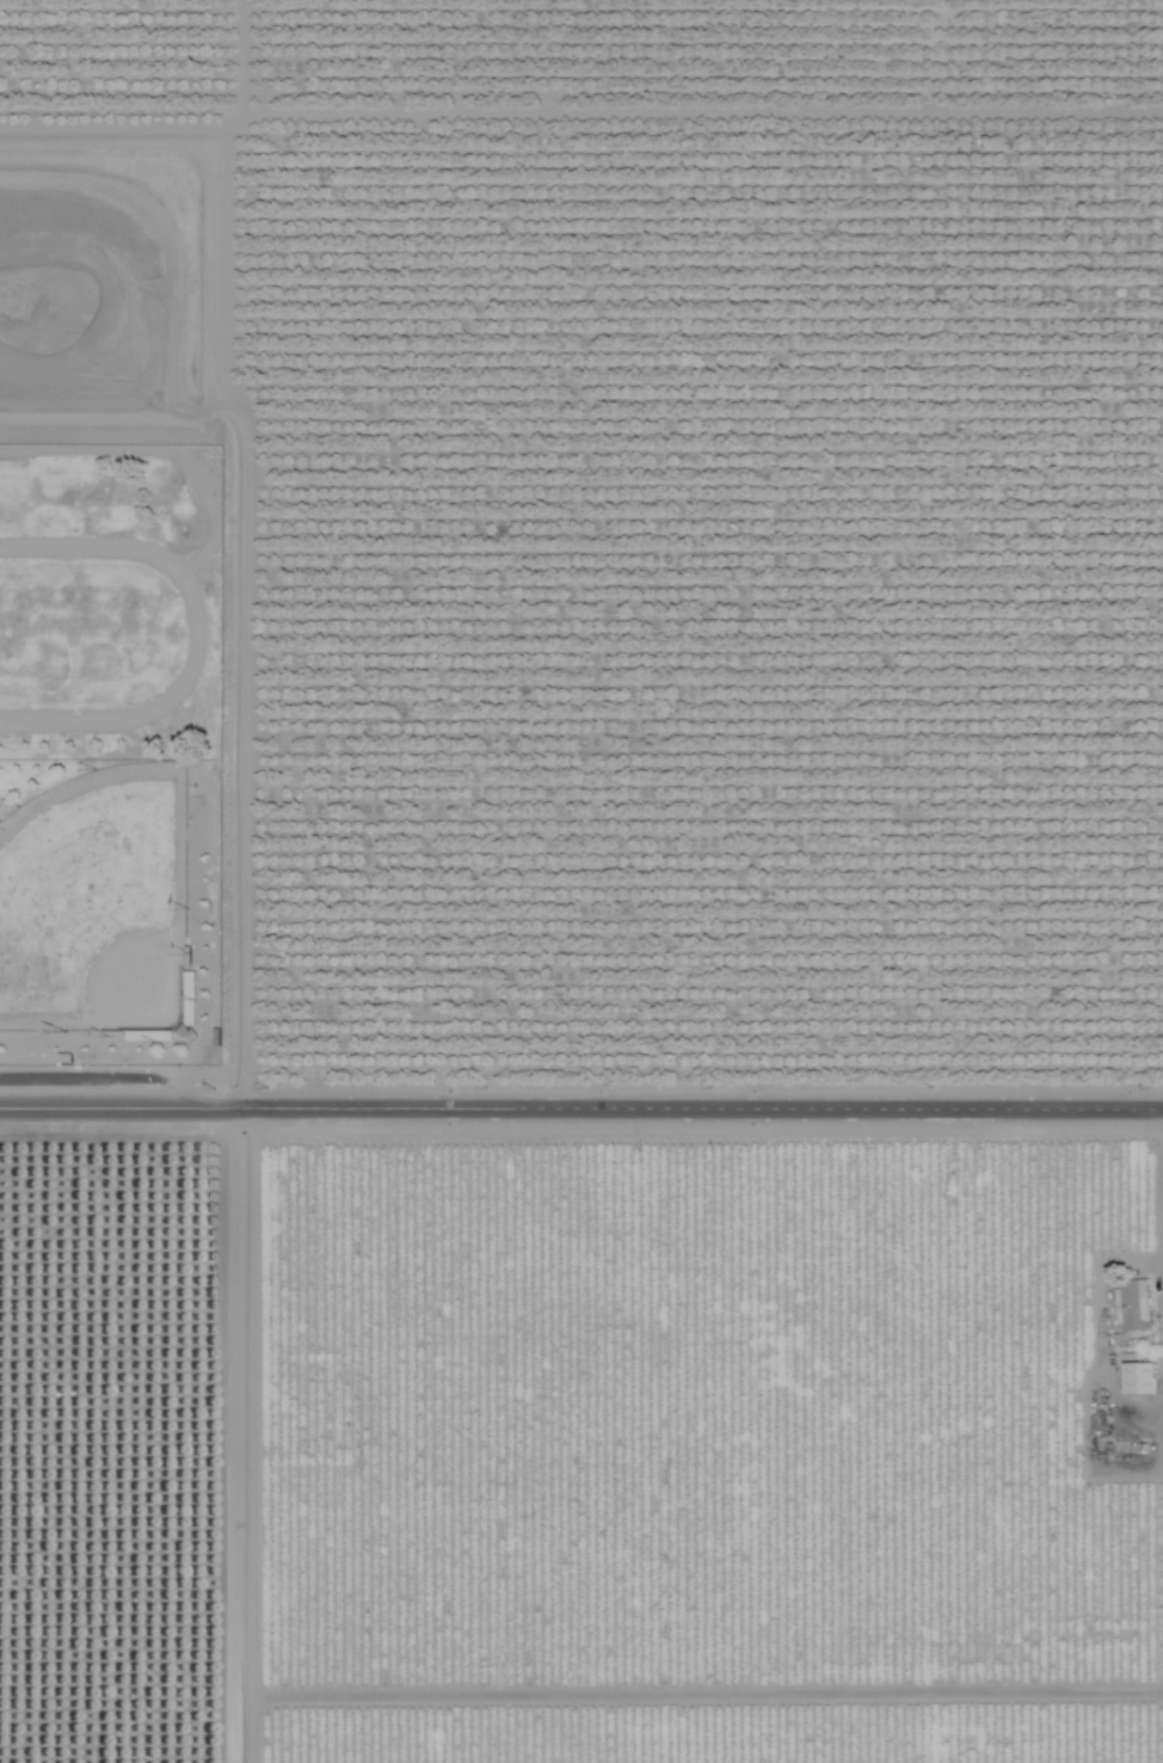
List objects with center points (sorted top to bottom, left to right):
crop: (654, 927)
building: (193, 996)
building: (150, 1034)
road: (581, 1104)
building: (1136, 1304)
building: (1142, 1377)
building: (1106, 1421)
road: (245, 1435)

